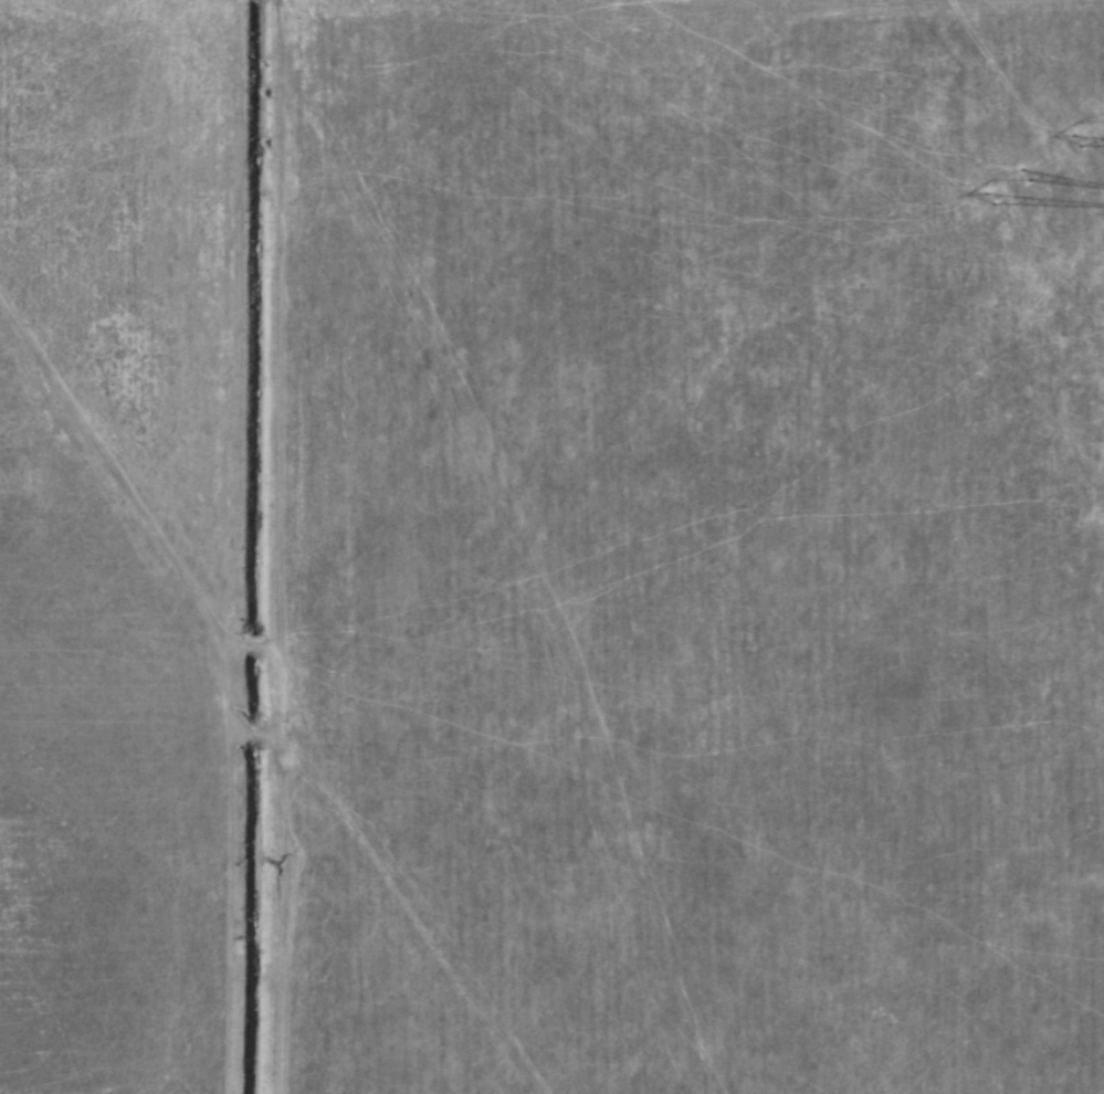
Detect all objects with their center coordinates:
power tower: (1087, 126)
power tower: (1013, 198)
road: (278, 676)

